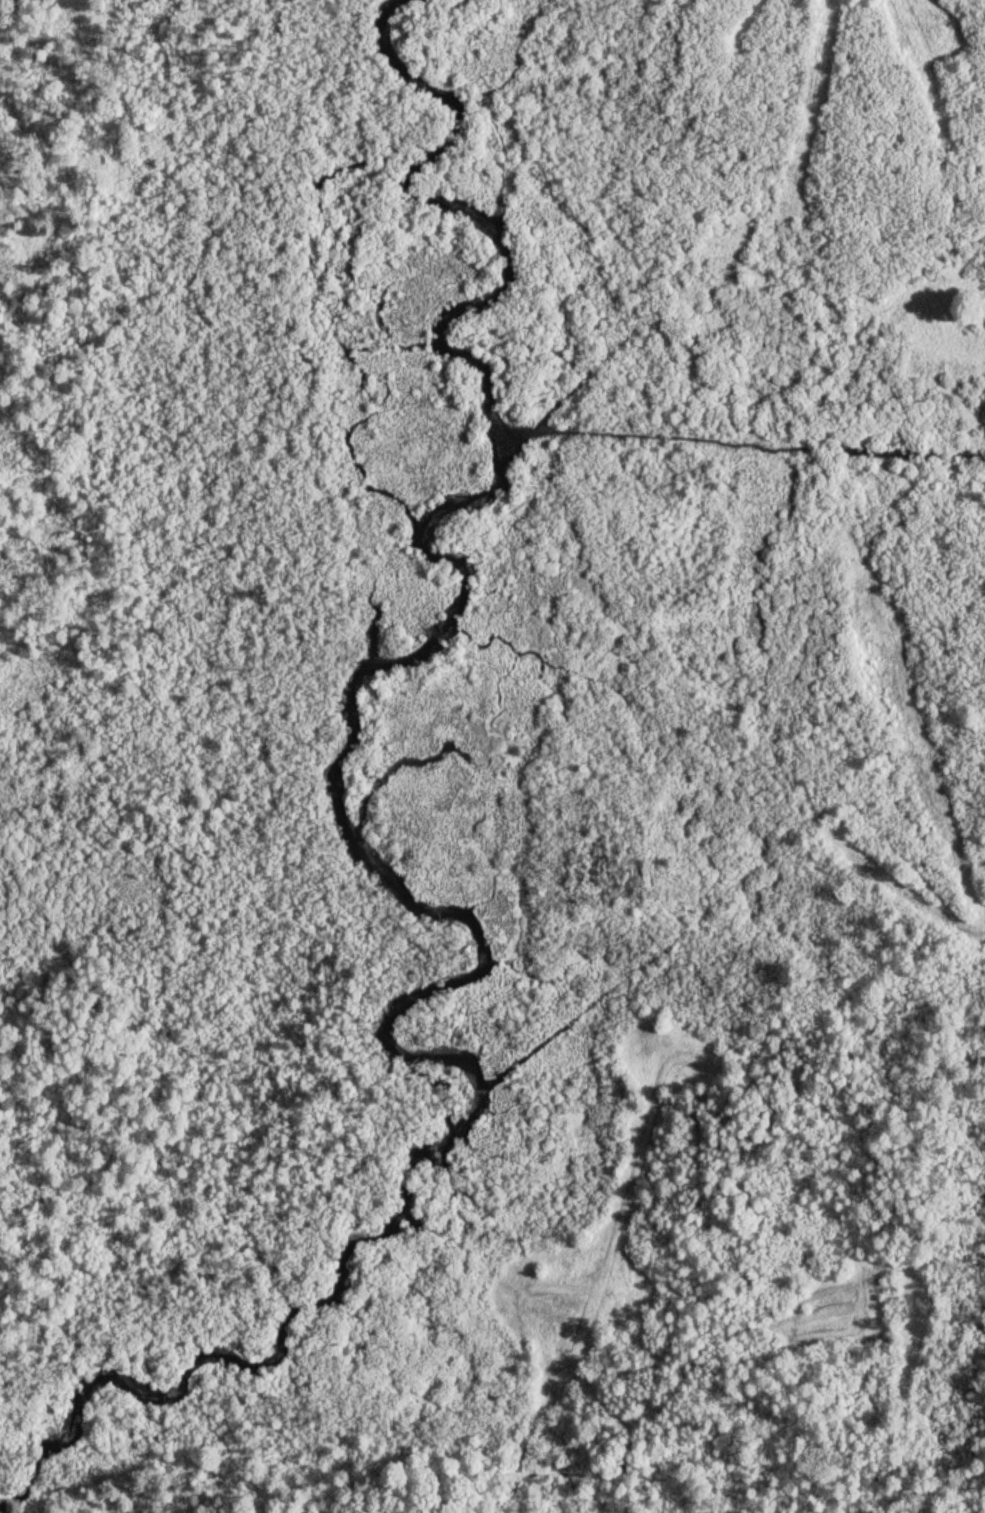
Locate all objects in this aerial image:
river: (348, 835)

